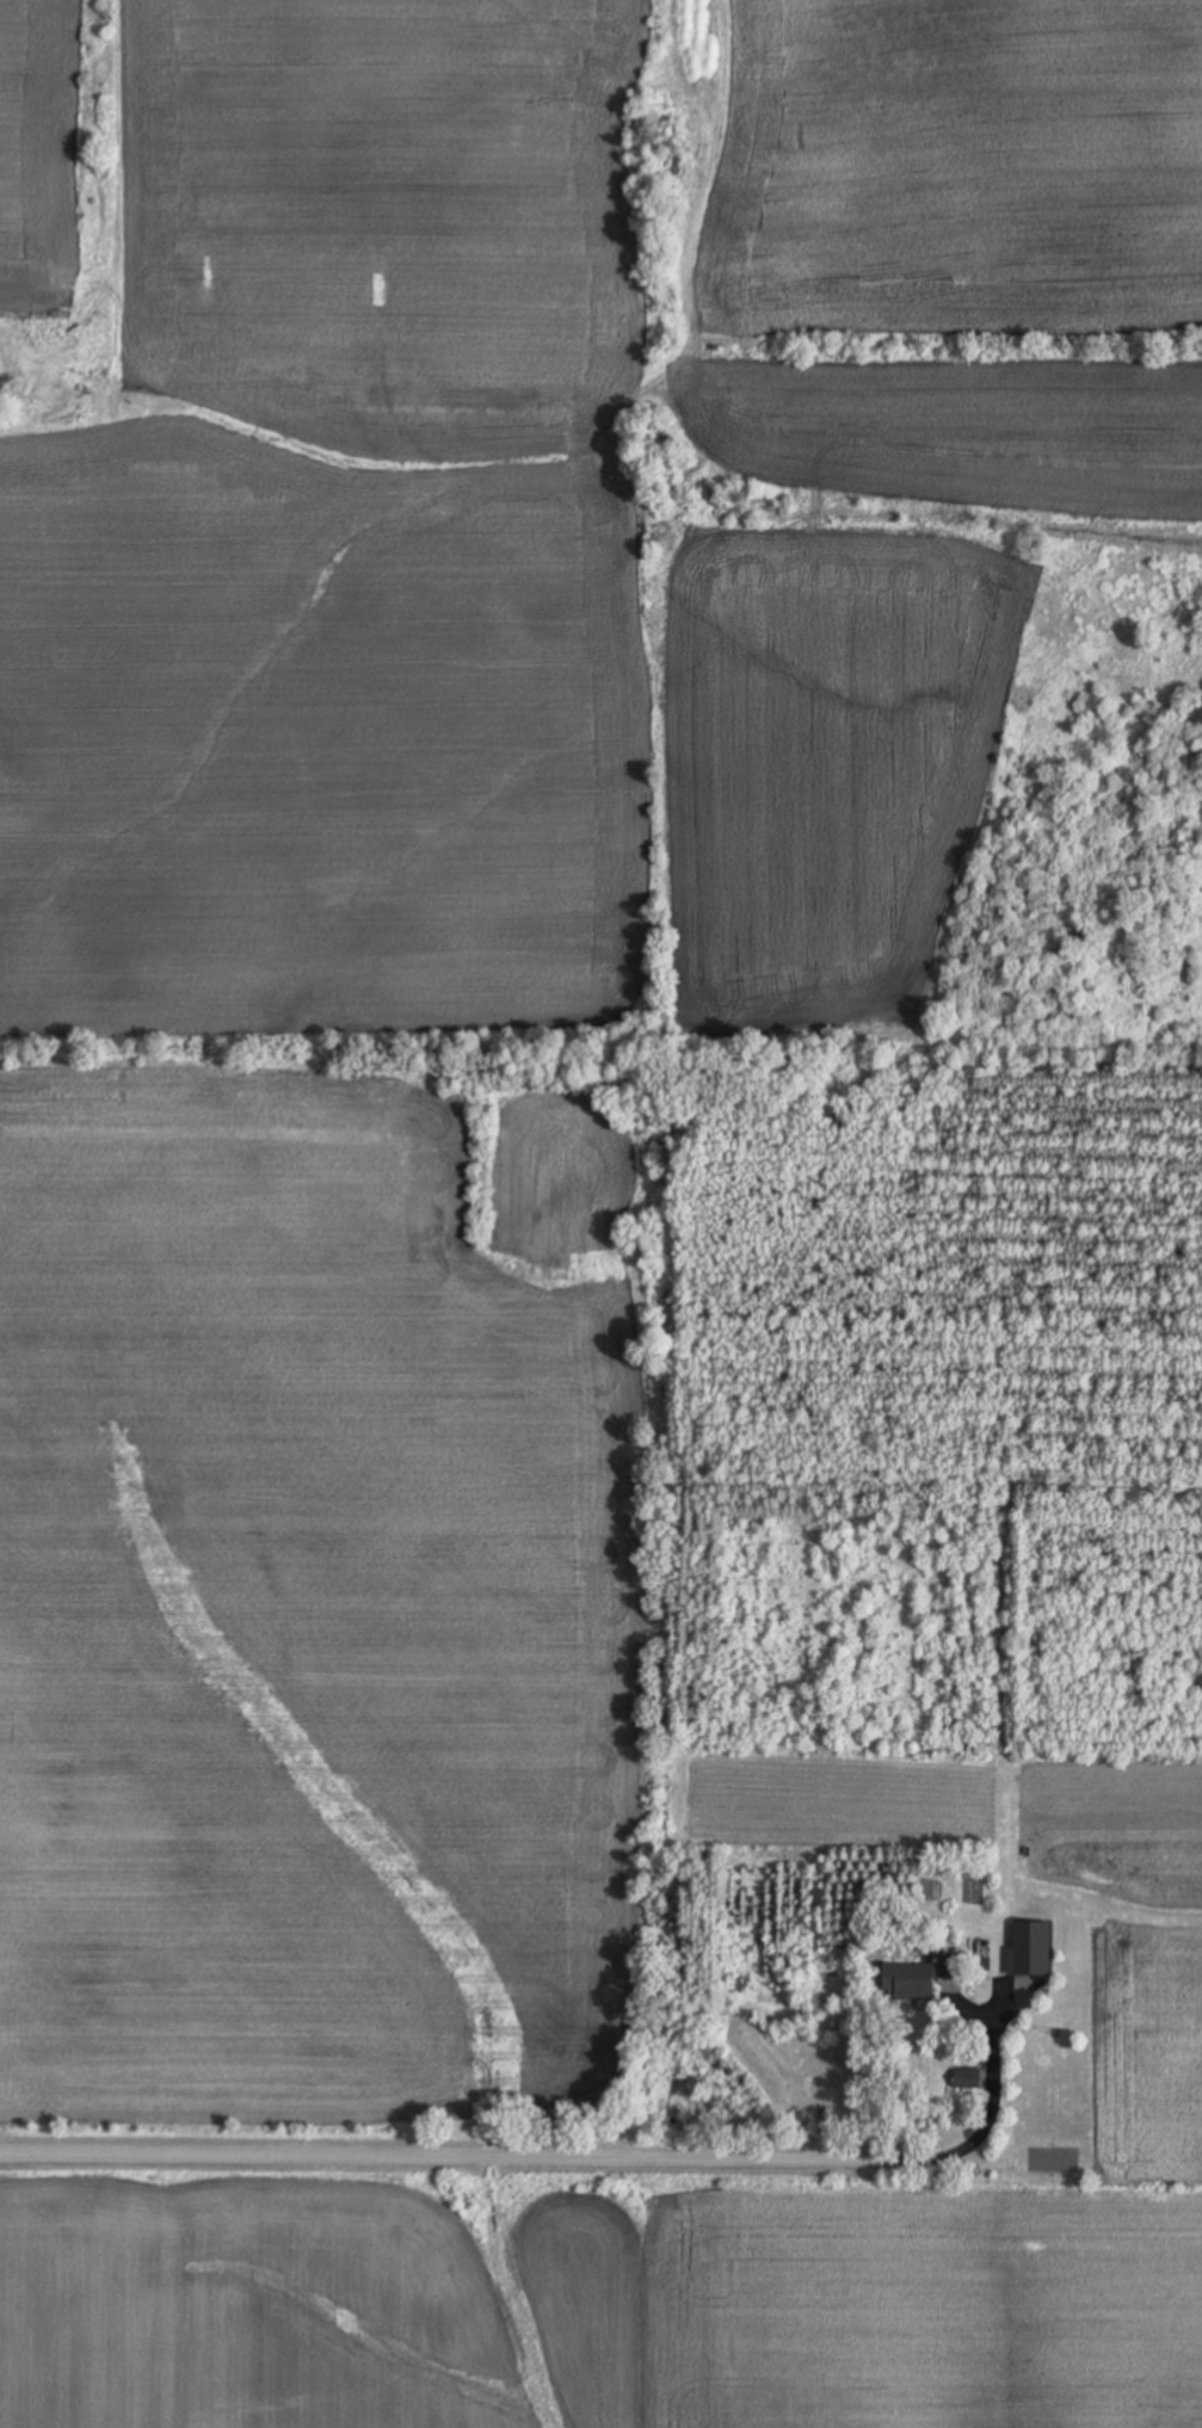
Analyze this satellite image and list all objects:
building: (1029, 1949)
building: (917, 1977)
building: (964, 2078)
road: (995, 2093)
road: (474, 2163)

